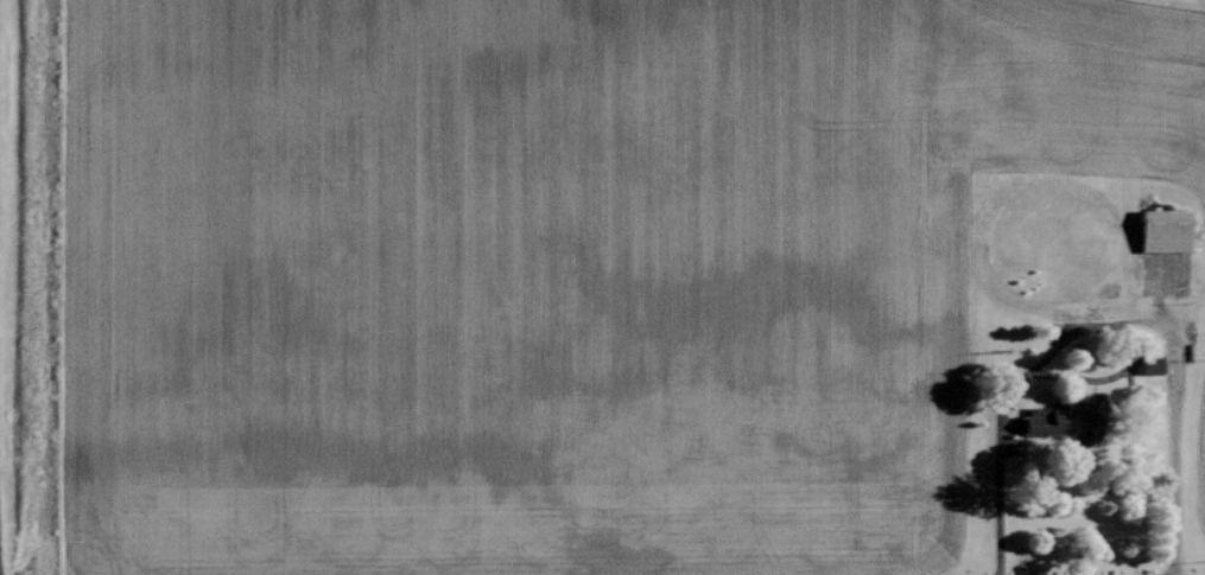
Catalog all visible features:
building: (1168, 229)
crop: (556, 271)
building: (1154, 363)
building: (1067, 420)

